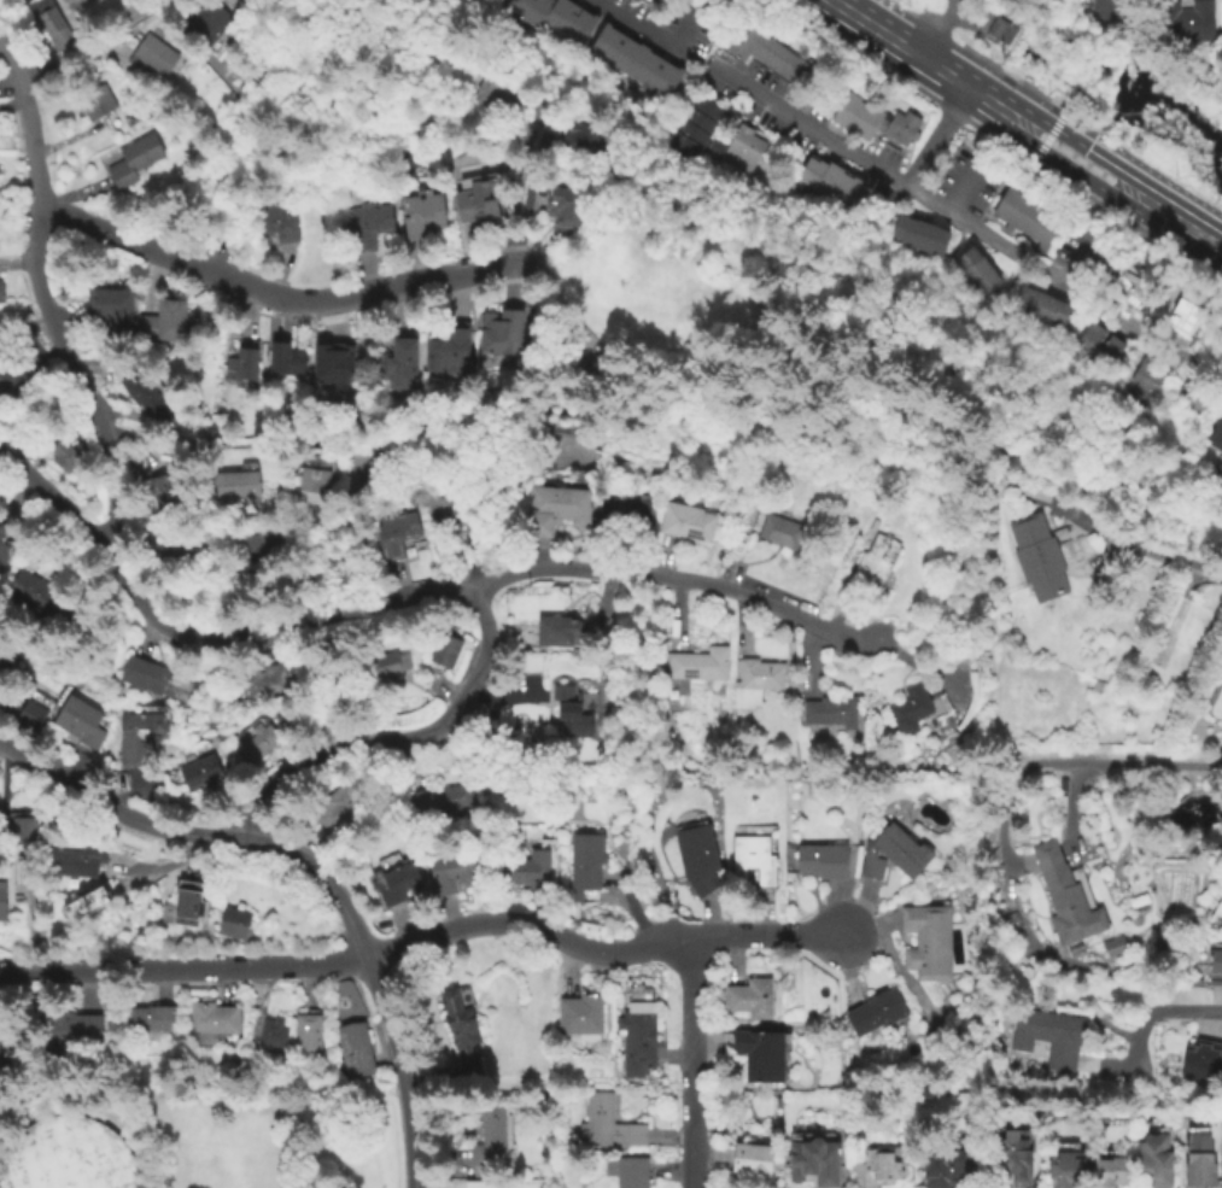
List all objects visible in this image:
building: (653, 0)
building: (71, 4)
road: (895, 10)
building: (1105, 11)
building: (551, 16)
building: (1185, 21)
building: (206, 22)
road: (875, 28)
road: (934, 28)
building: (51, 29)
road: (930, 31)
building: (1000, 31)
road: (645, 34)
road: (93, 51)
building: (766, 53)
building: (150, 57)
building: (632, 59)
road: (943, 71)
building: (495, 92)
building: (94, 103)
road: (13, 106)
road: (1010, 113)
building: (872, 121)
road: (30, 122)
road: (1084, 129)
building: (691, 137)
road: (936, 137)
building: (580, 141)
building: (464, 156)
building: (133, 160)
road: (953, 183)
building: (829, 187)
road: (516, 188)
road: (526, 192)
road: (1136, 194)
building: (474, 206)
building: (561, 210)
building: (421, 213)
building: (1025, 218)
building: (276, 223)
road: (963, 223)
building: (368, 227)
building: (918, 236)
building: (977, 273)
building: (0, 293)
road: (280, 297)
building: (1182, 297)
building: (1037, 308)
building: (110, 309)
building: (163, 320)
building: (499, 332)
building: (1098, 349)
building: (448, 352)
building: (241, 362)
building: (286, 362)
building: (331, 364)
building: (394, 367)
building: (12, 380)
road: (78, 382)
building: (1142, 384)
building: (145, 394)
building: (1193, 399)
building: (1215, 438)
building: (66, 466)
building: (493, 474)
building: (314, 479)
building: (1215, 481)
building: (235, 486)
building: (1039, 492)
building: (163, 493)
building: (638, 496)
building: (554, 510)
building: (446, 513)
building: (625, 521)
building: (685, 521)
building: (779, 533)
building: (397, 536)
road: (1148, 539)
road: (363, 544)
building: (2, 549)
building: (265, 551)
building: (174, 557)
building: (1036, 560)
building: (873, 561)
road: (216, 572)
building: (28, 592)
road: (404, 599)
building: (58, 621)
building: (559, 634)
building: (1186, 637)
building: (443, 652)
building: (0, 655)
building: (4, 667)
building: (385, 667)
building: (697, 667)
building: (153, 680)
building: (752, 681)
building: (264, 683)
building: (914, 709)
building: (830, 713)
building: (569, 715)
building: (30, 716)
building: (78, 724)
building: (138, 737)
road: (399, 738)
building: (252, 745)
building: (199, 774)
road: (1008, 790)
building: (440, 801)
road: (1072, 806)
building: (335, 810)
road: (117, 813)
building: (19, 826)
building: (1062, 826)
building: (891, 855)
road: (192, 856)
building: (695, 858)
building: (752, 860)
building: (76, 861)
building: (820, 861)
building: (584, 867)
building: (452, 871)
building: (528, 872)
building: (1080, 882)
building: (394, 885)
building: (1065, 897)
building: (1, 903)
building: (84, 903)
building: (186, 906)
road: (642, 913)
building: (95, 914)
building: (1015, 919)
building: (233, 925)
road: (425, 941)
building: (926, 943)
building: (1112, 947)
building: (1215, 970)
road: (193, 981)
road: (378, 985)
building: (749, 1000)
building: (875, 1012)
road: (1159, 1012)
building: (579, 1018)
building: (148, 1020)
building: (210, 1023)
building: (72, 1030)
building: (458, 1030)
building: (305, 1035)
building: (270, 1036)
building: (1047, 1037)
building: (636, 1040)
building: (5, 1049)
building: (352, 1051)
building: (759, 1057)
road: (689, 1064)
building: (1203, 1064)
building: (606, 1126)
building: (486, 1137)
building: (65, 1155)
building: (1012, 1157)
building: (1154, 1160)
building: (1200, 1160)
building: (750, 1163)
building: (812, 1164)
building: (939, 1166)
building: (878, 1169)
building: (1066, 1171)
building: (630, 1174)
building: (1109, 1174)
water tower: (65, 1184)
building: (474, 1186)

